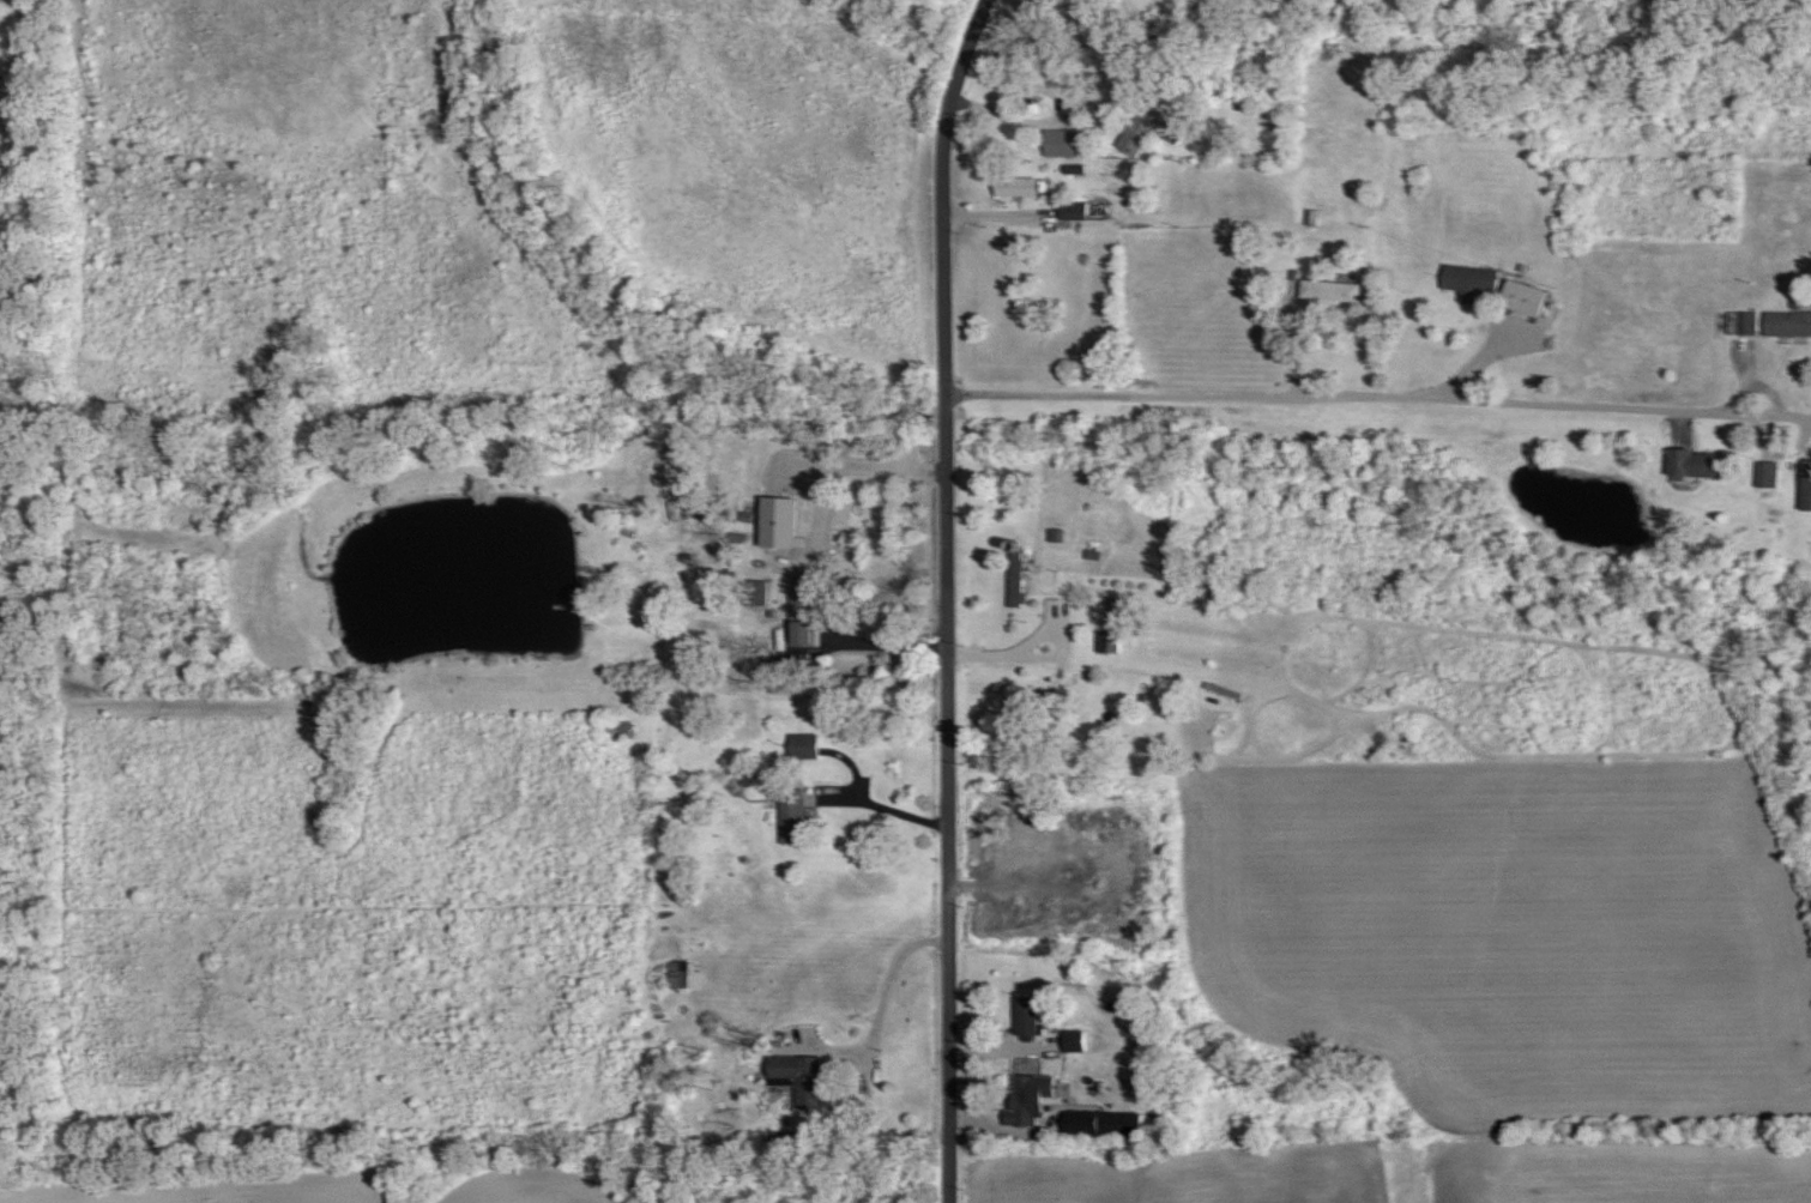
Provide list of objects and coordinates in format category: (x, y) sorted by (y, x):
building: (1085, 2)
road: (1052, 116)
building: (1143, 126)
building: (1064, 140)
building: (1019, 183)
building: (1076, 208)
road: (992, 210)
building: (1474, 278)
building: (1026, 282)
building: (1334, 288)
building: (1531, 296)
building: (1744, 321)
building: (1789, 321)
road: (1298, 351)
road: (1474, 367)
road: (1746, 385)
road: (1378, 403)
road: (1676, 425)
road: (1782, 447)
building: (1701, 461)
building: (1769, 472)
building: (1807, 484)
building: (785, 520)
building: (809, 581)
road: (947, 597)
building: (1019, 598)
building: (1117, 621)
building: (809, 631)
road: (1034, 636)
building: (1226, 690)
building: (1037, 701)
building: (805, 744)
building: (797, 814)
building: (680, 973)
road: (885, 989)
building: (1028, 1014)
building: (802, 1076)
building: (1032, 1098)
building: (1107, 1120)

